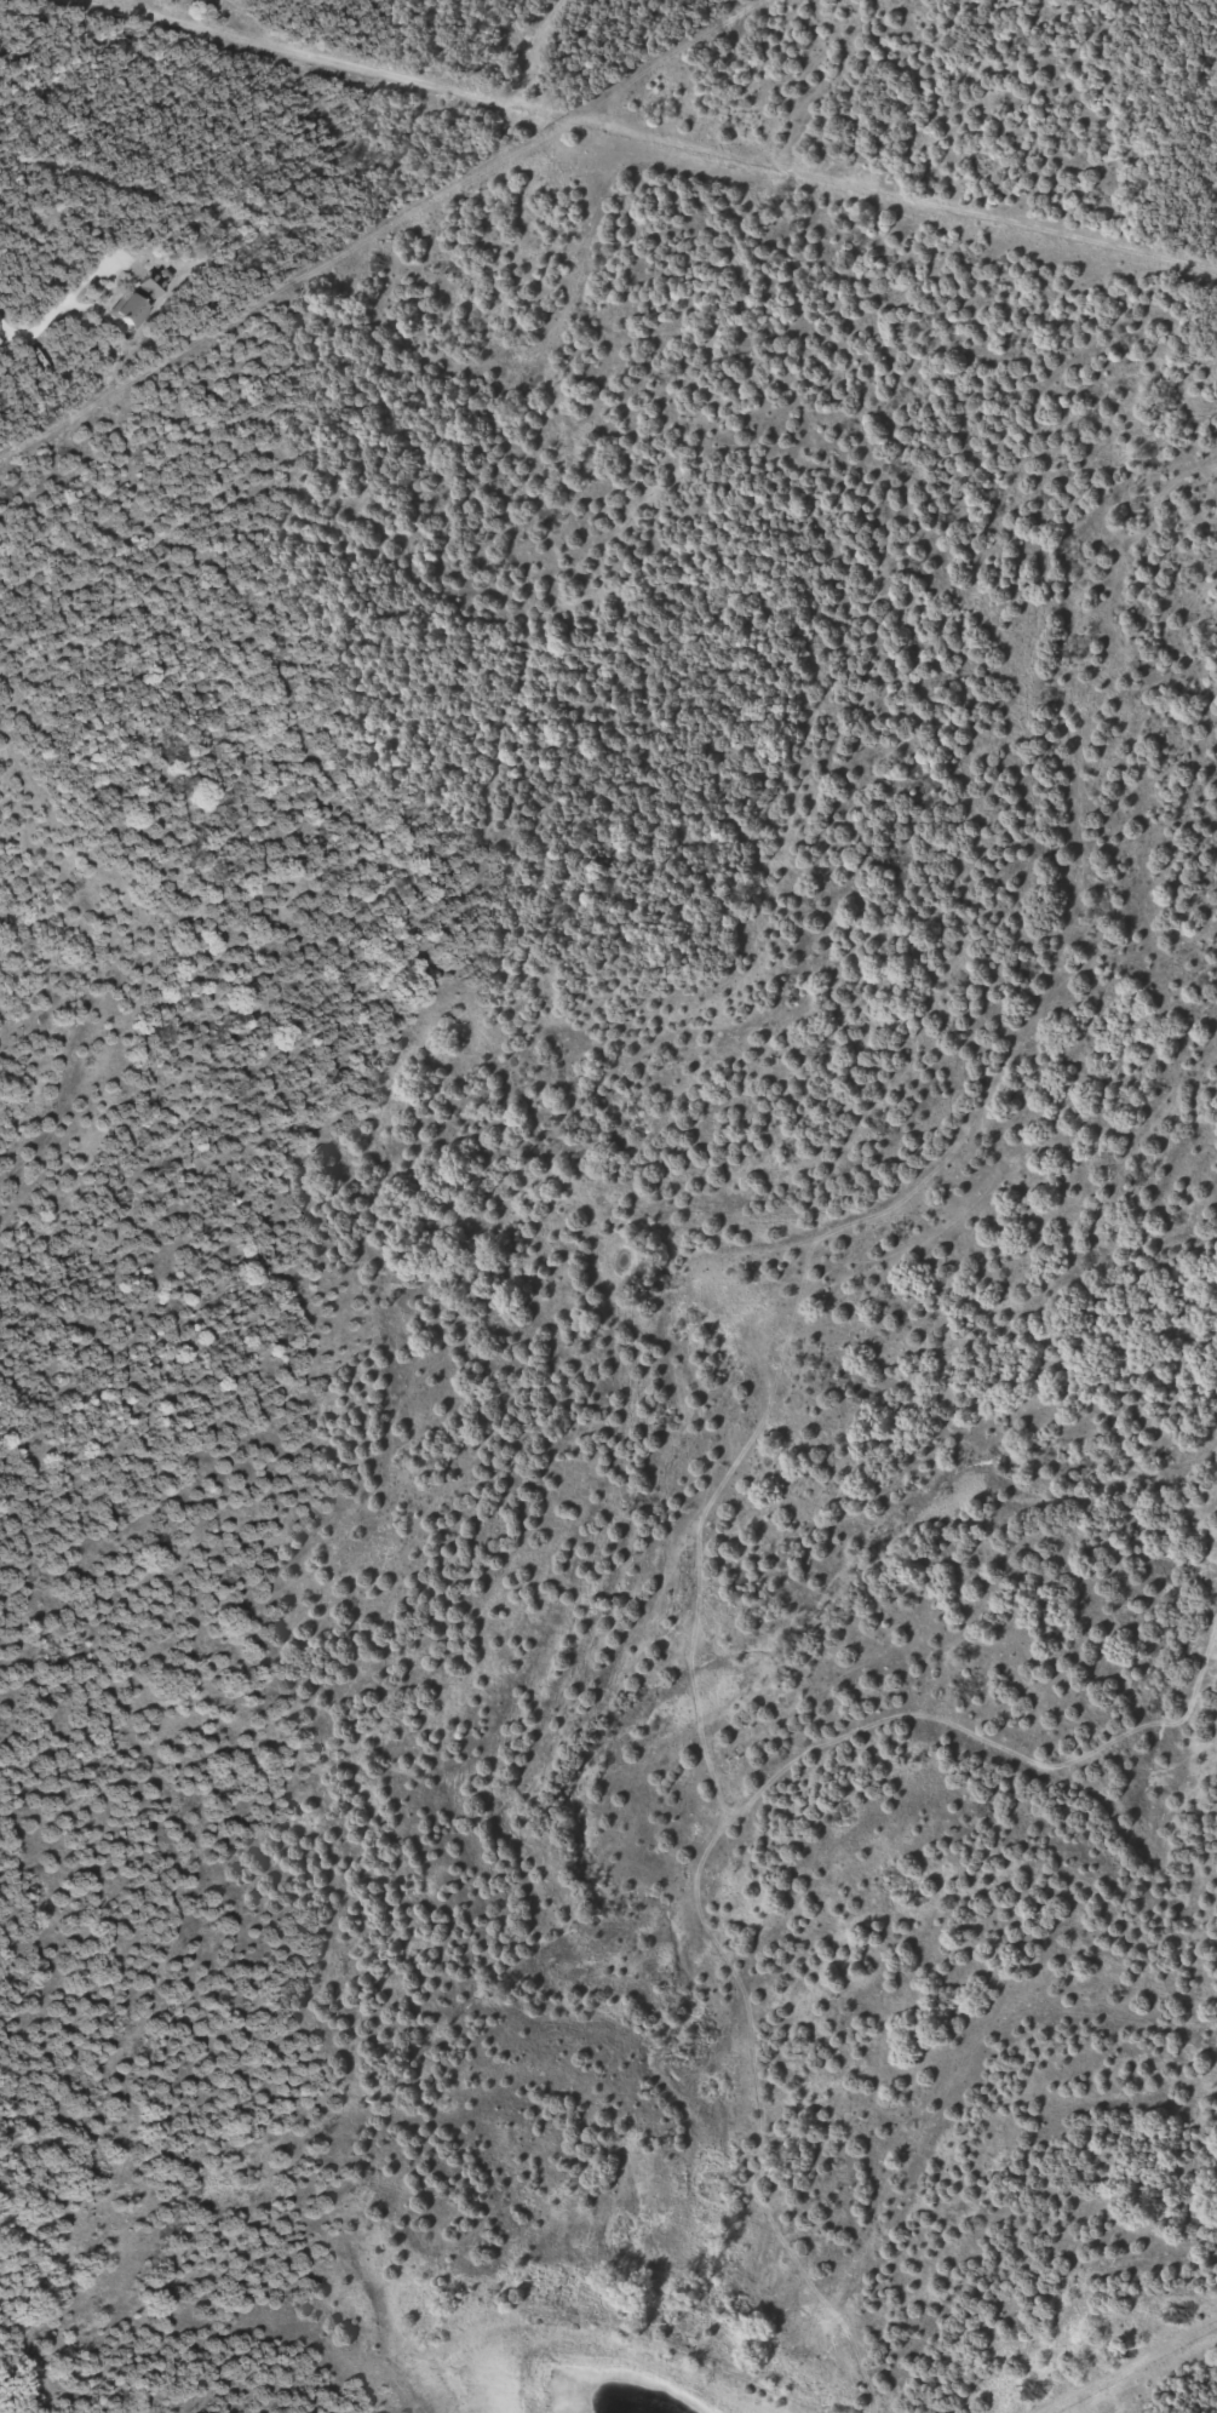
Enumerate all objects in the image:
building: (144, 298)
road: (51, 306)

